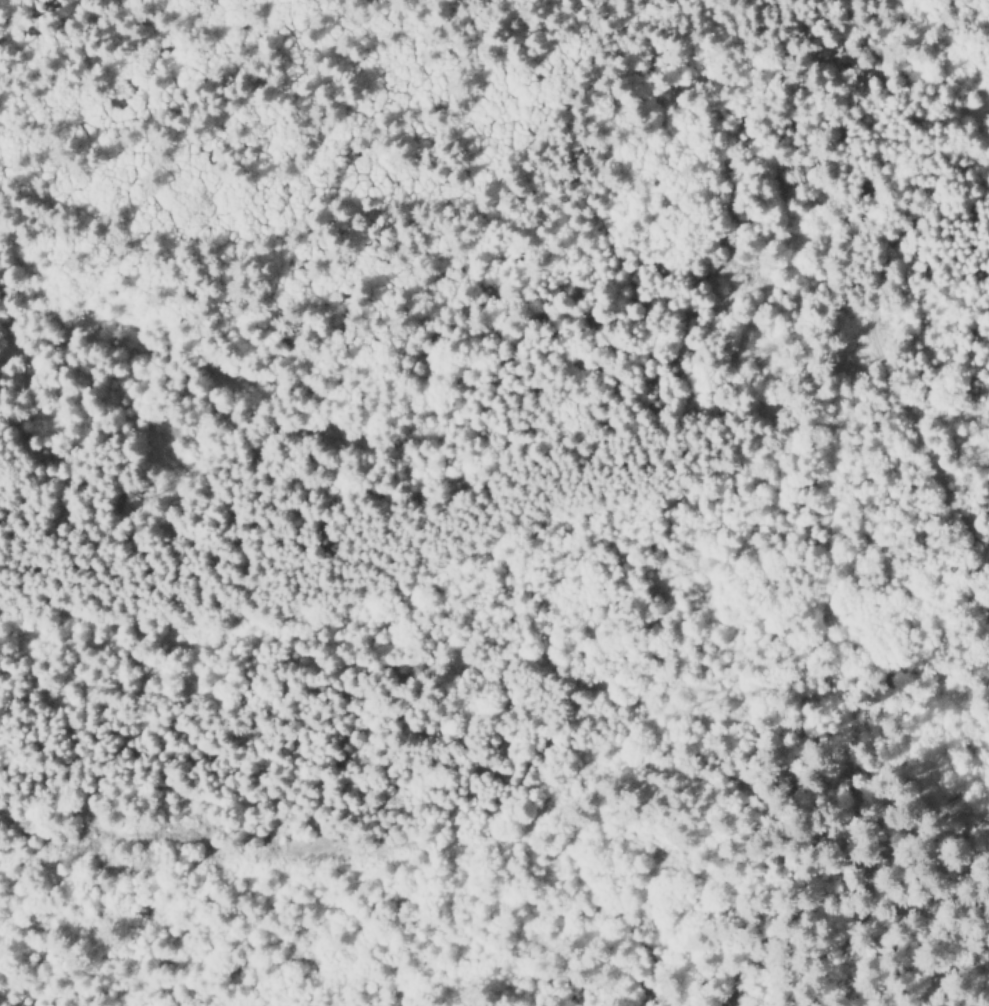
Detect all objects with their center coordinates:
road: (878, 352)

